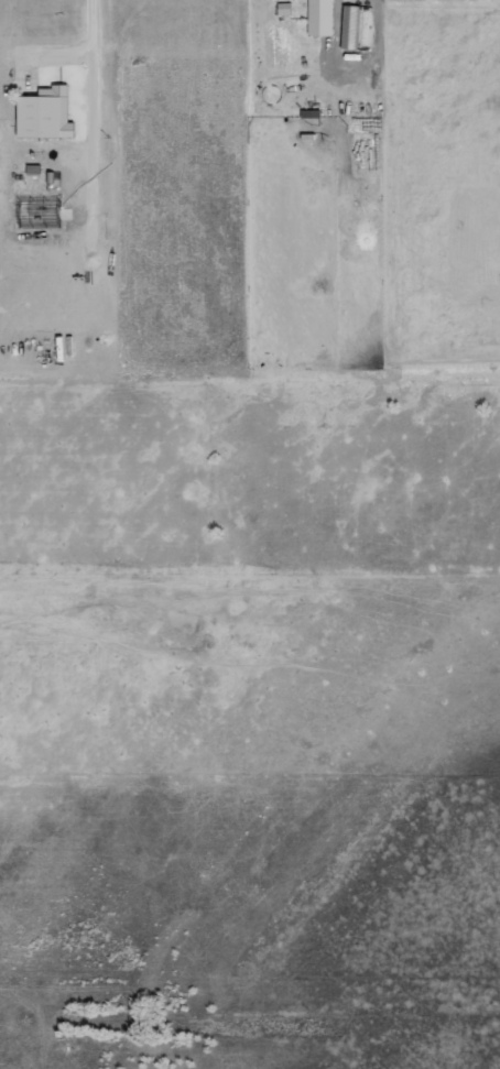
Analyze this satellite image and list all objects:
building: (285, 8)
building: (322, 17)
building: (351, 26)
road: (95, 57)
building: (48, 113)

